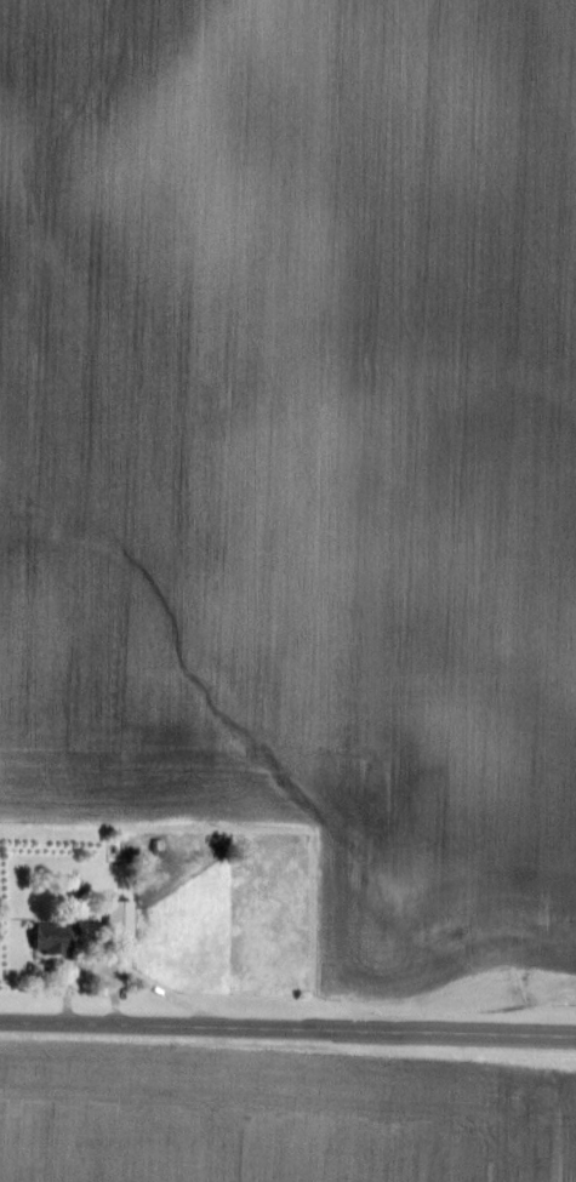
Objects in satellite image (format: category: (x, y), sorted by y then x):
road: (287, 1030)

